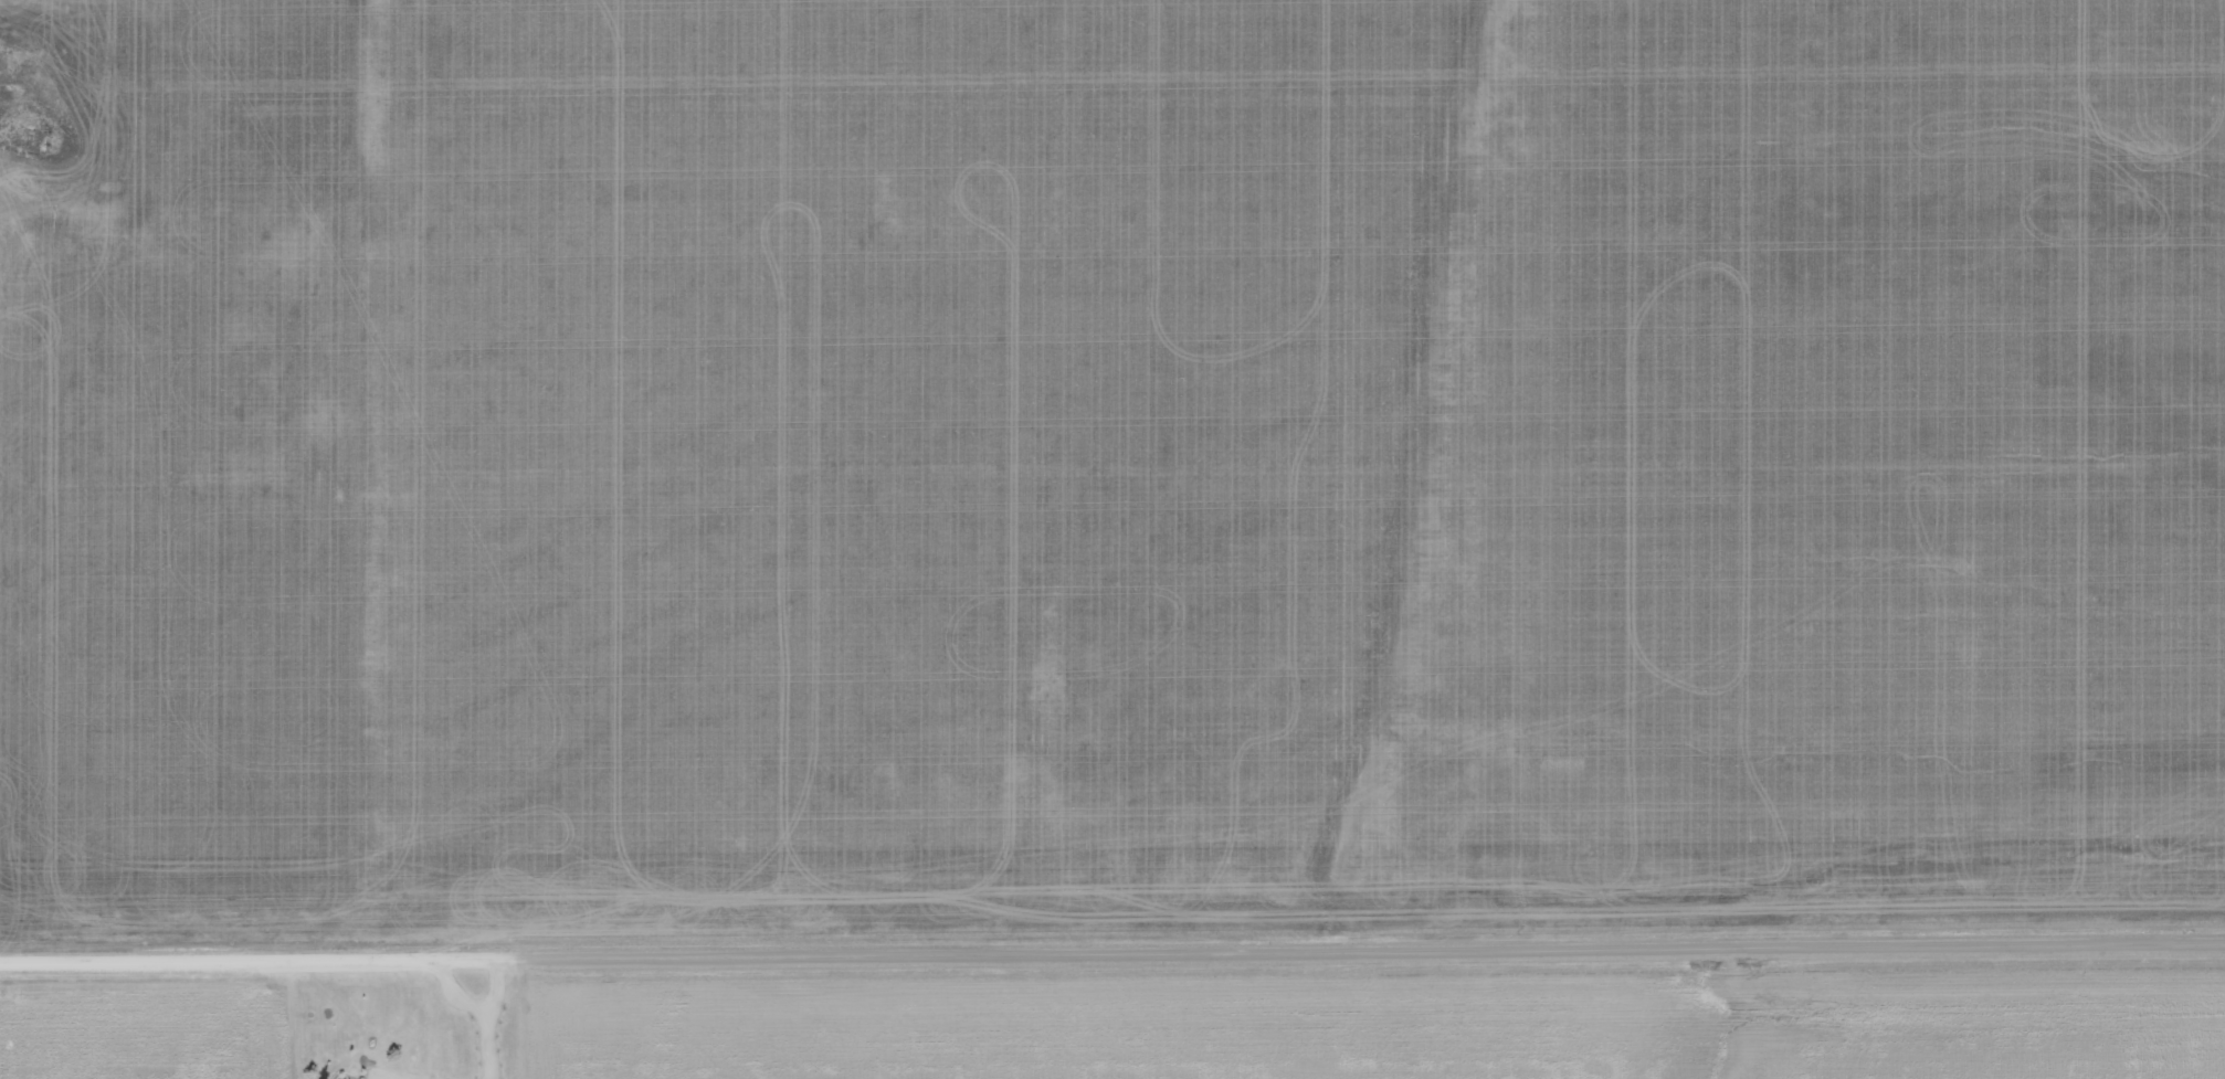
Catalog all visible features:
road: (1112, 952)

